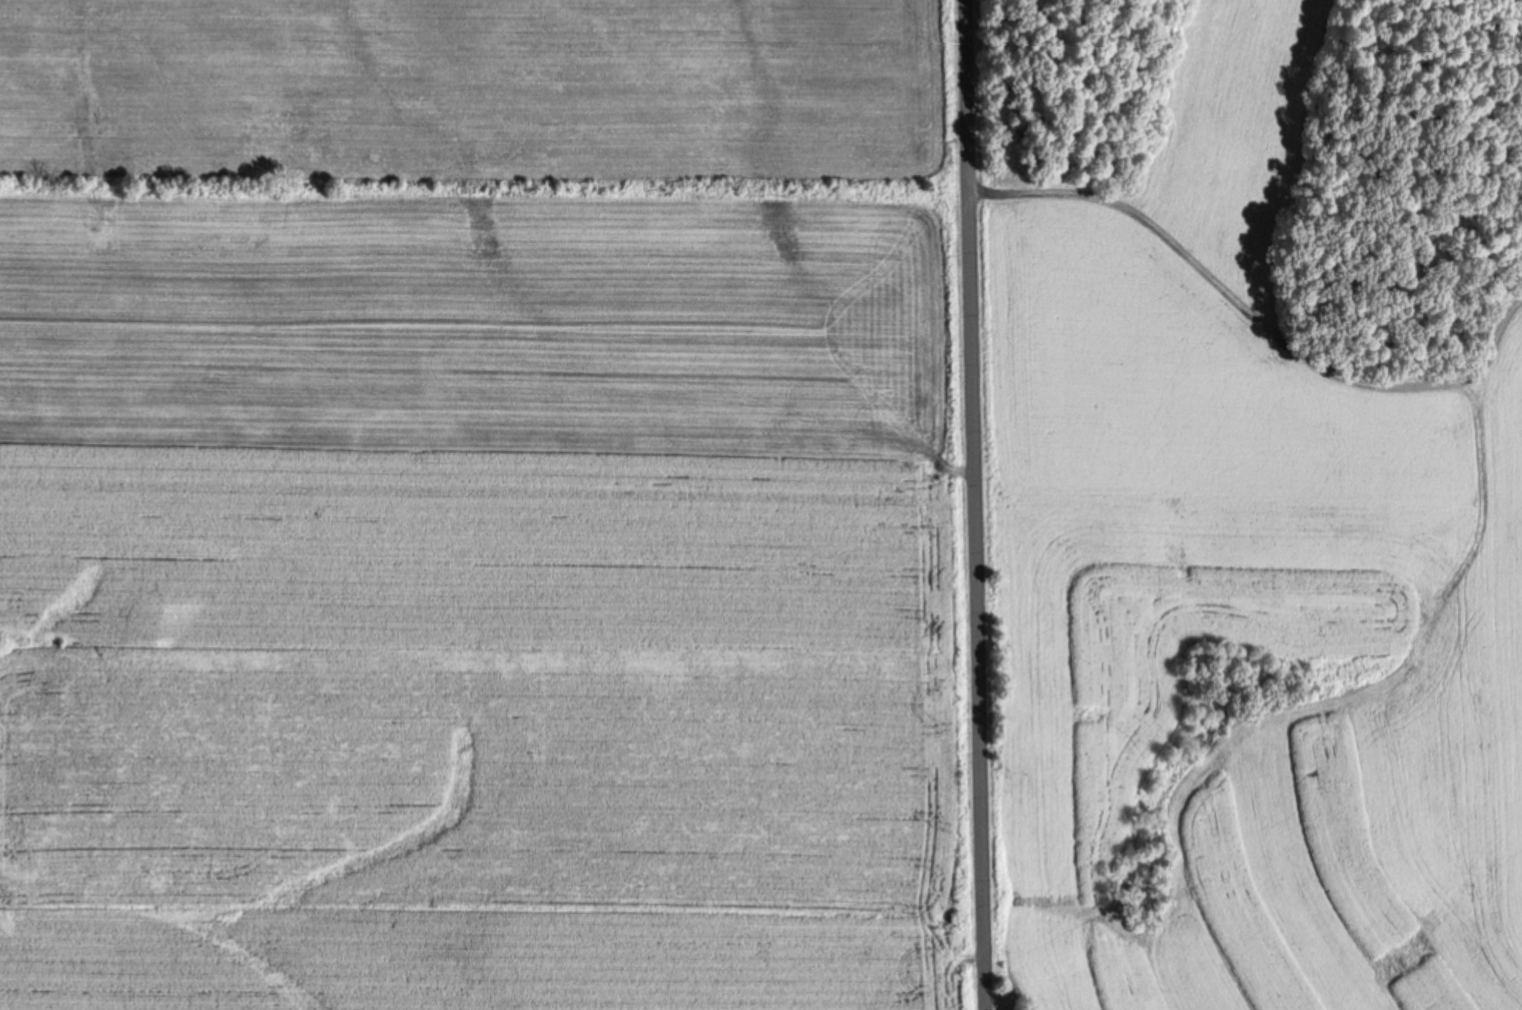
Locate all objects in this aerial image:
road: (975, 505)

